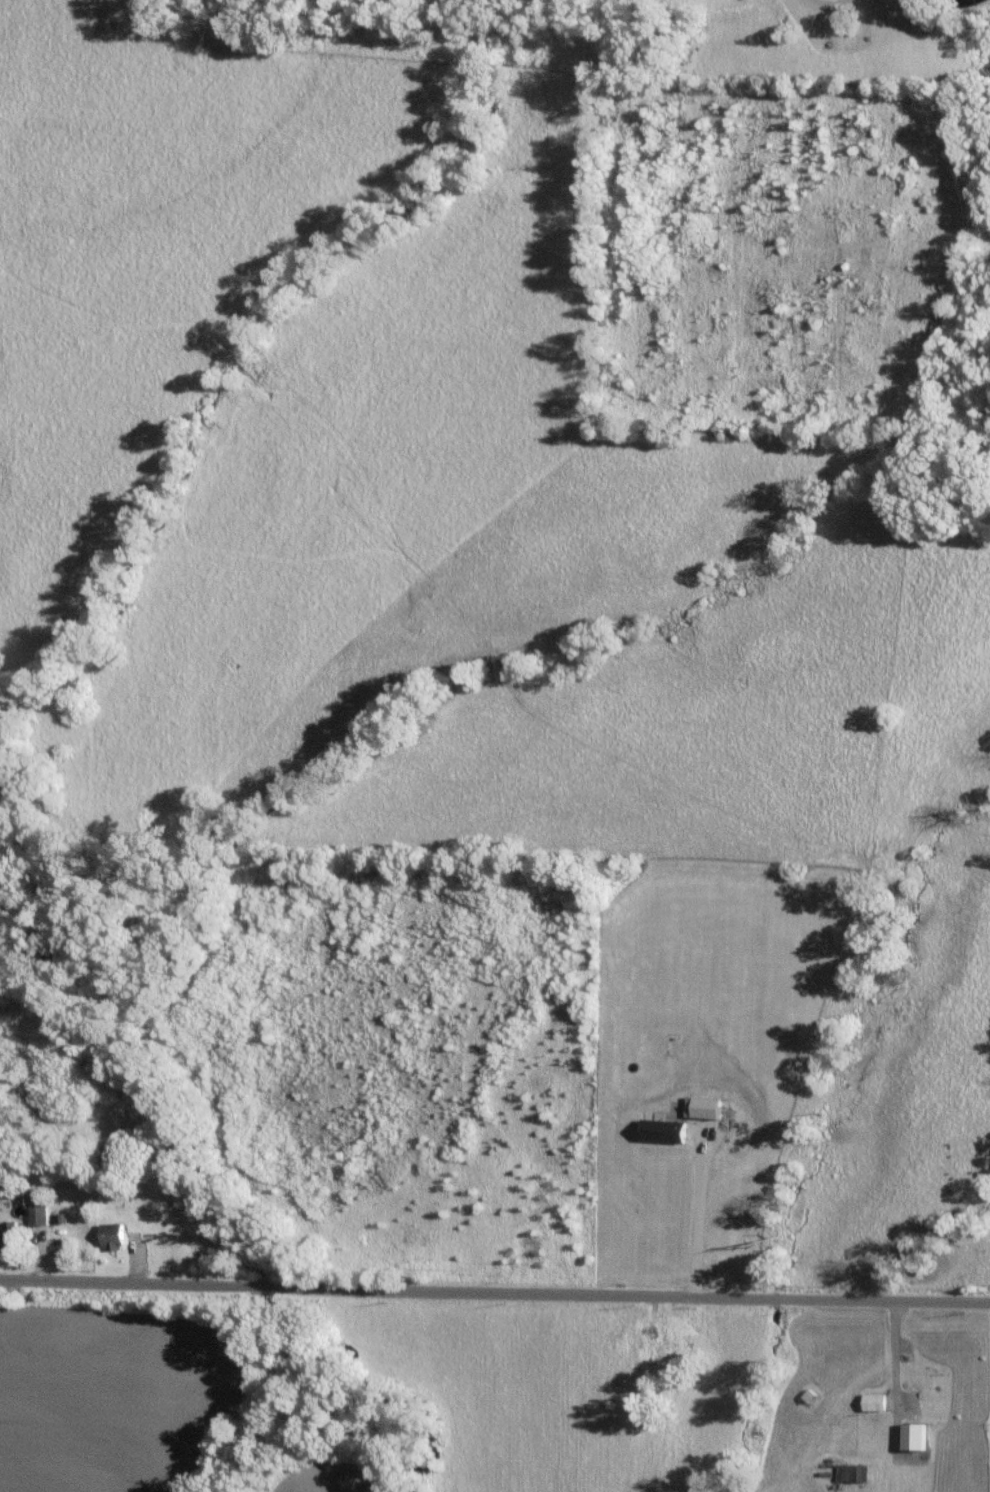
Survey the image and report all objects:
building: (700, 1106)
building: (660, 1130)
building: (36, 1214)
road: (701, 1217)
building: (7, 1235)
building: (110, 1235)
road: (495, 1281)
building: (873, 1401)
building: (912, 1436)
building: (851, 1472)

